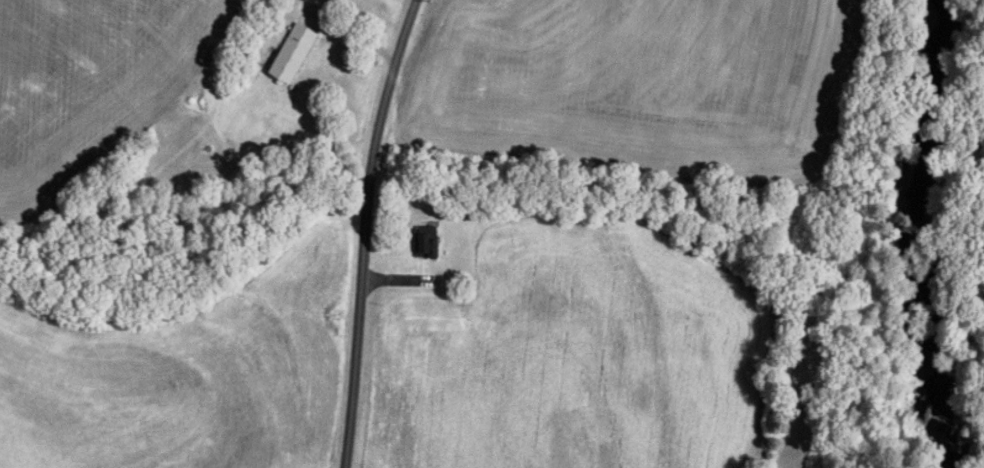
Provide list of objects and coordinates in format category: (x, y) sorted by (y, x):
building: (294, 53)
road: (362, 231)
river: (910, 234)
building: (427, 240)

